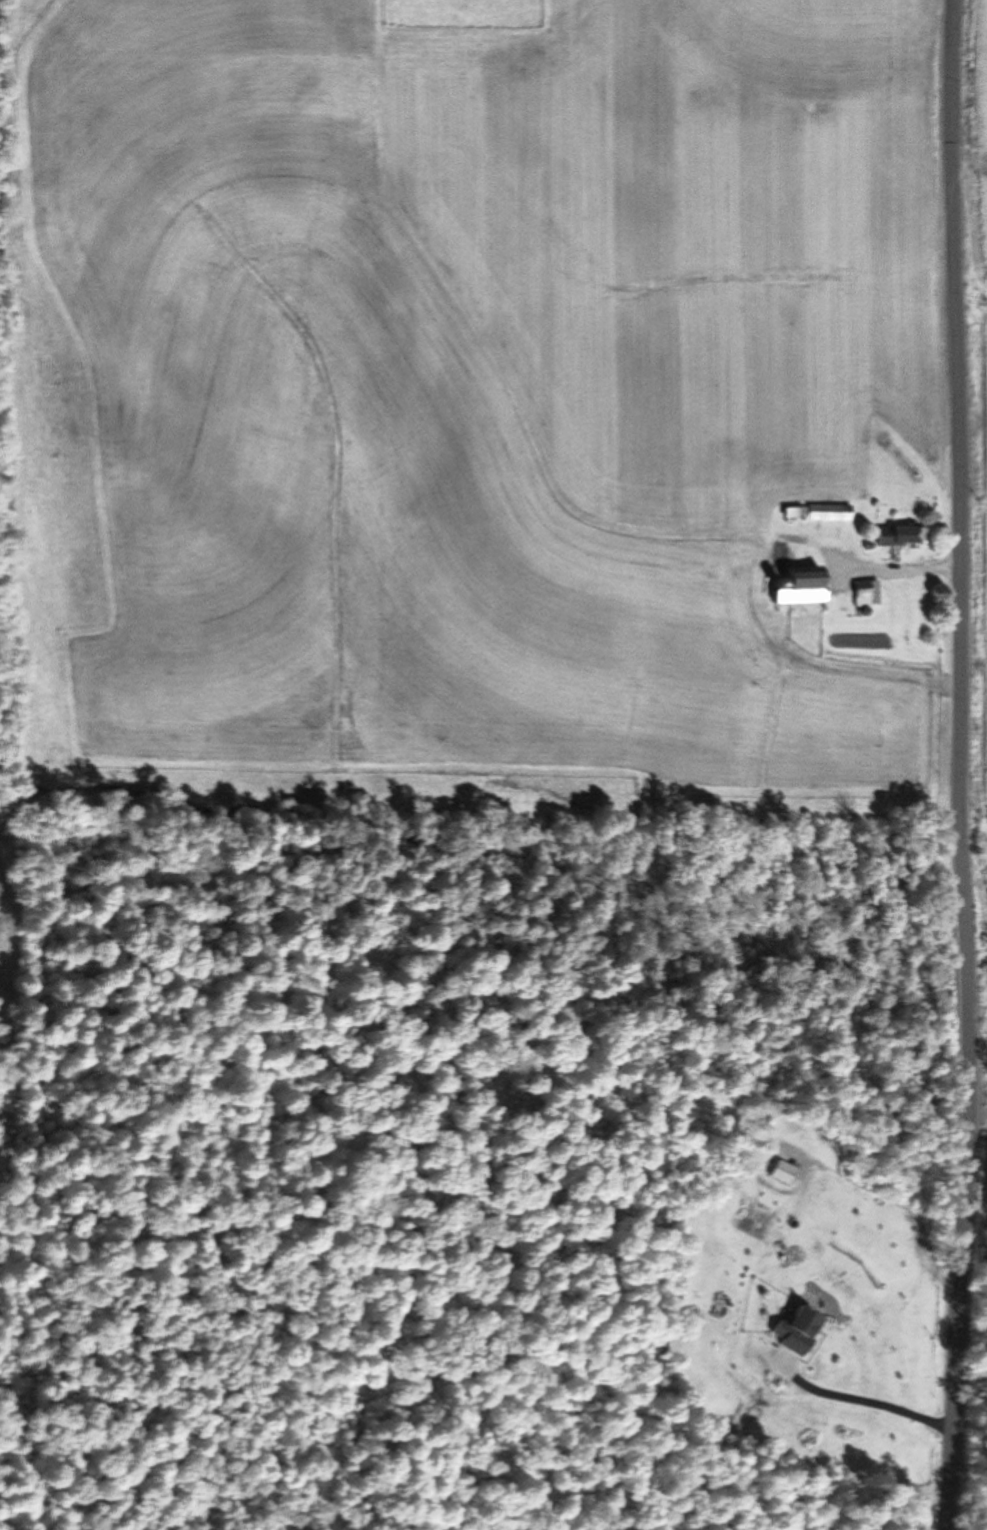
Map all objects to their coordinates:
building: (827, 512)
building: (896, 535)
building: (799, 585)
building: (866, 593)
road: (960, 765)
building: (795, 1329)
road: (865, 1402)

